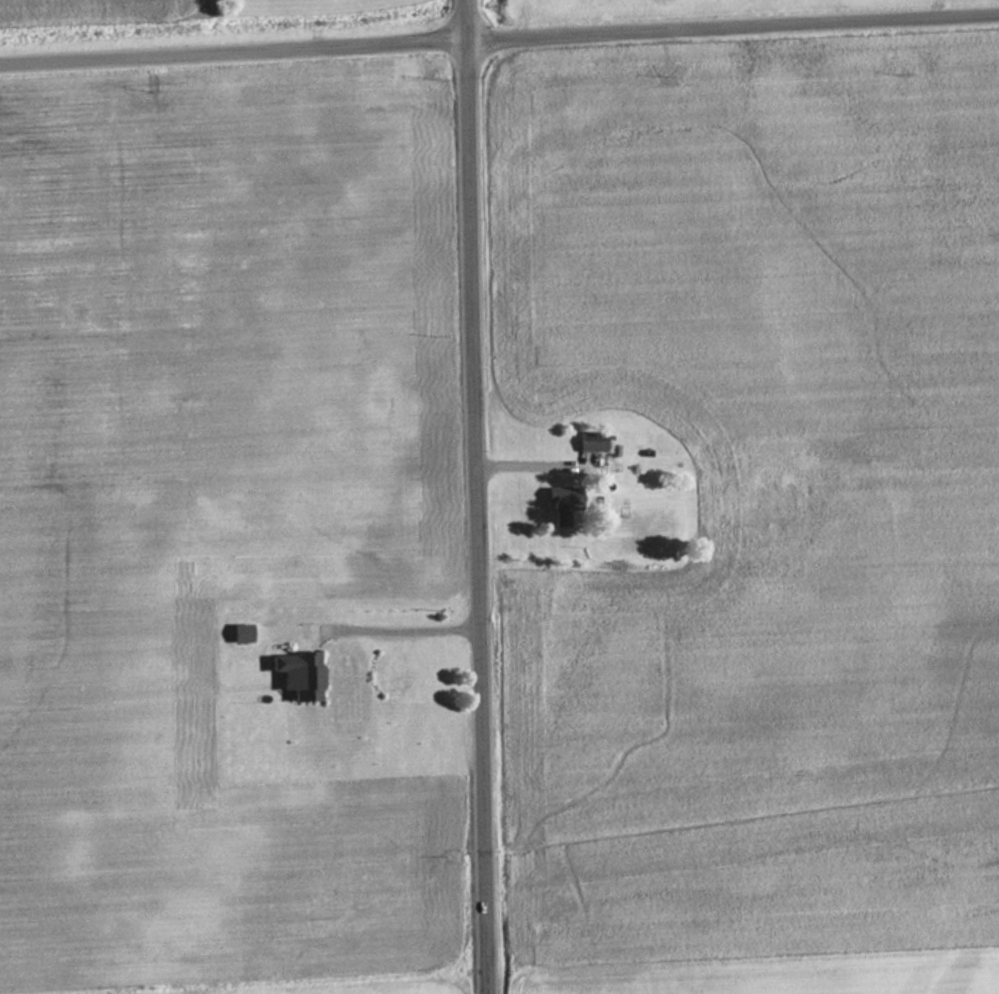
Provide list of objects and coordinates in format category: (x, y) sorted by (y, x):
road: (499, 44)
building: (593, 440)
road: (478, 497)
building: (564, 502)
building: (299, 673)

